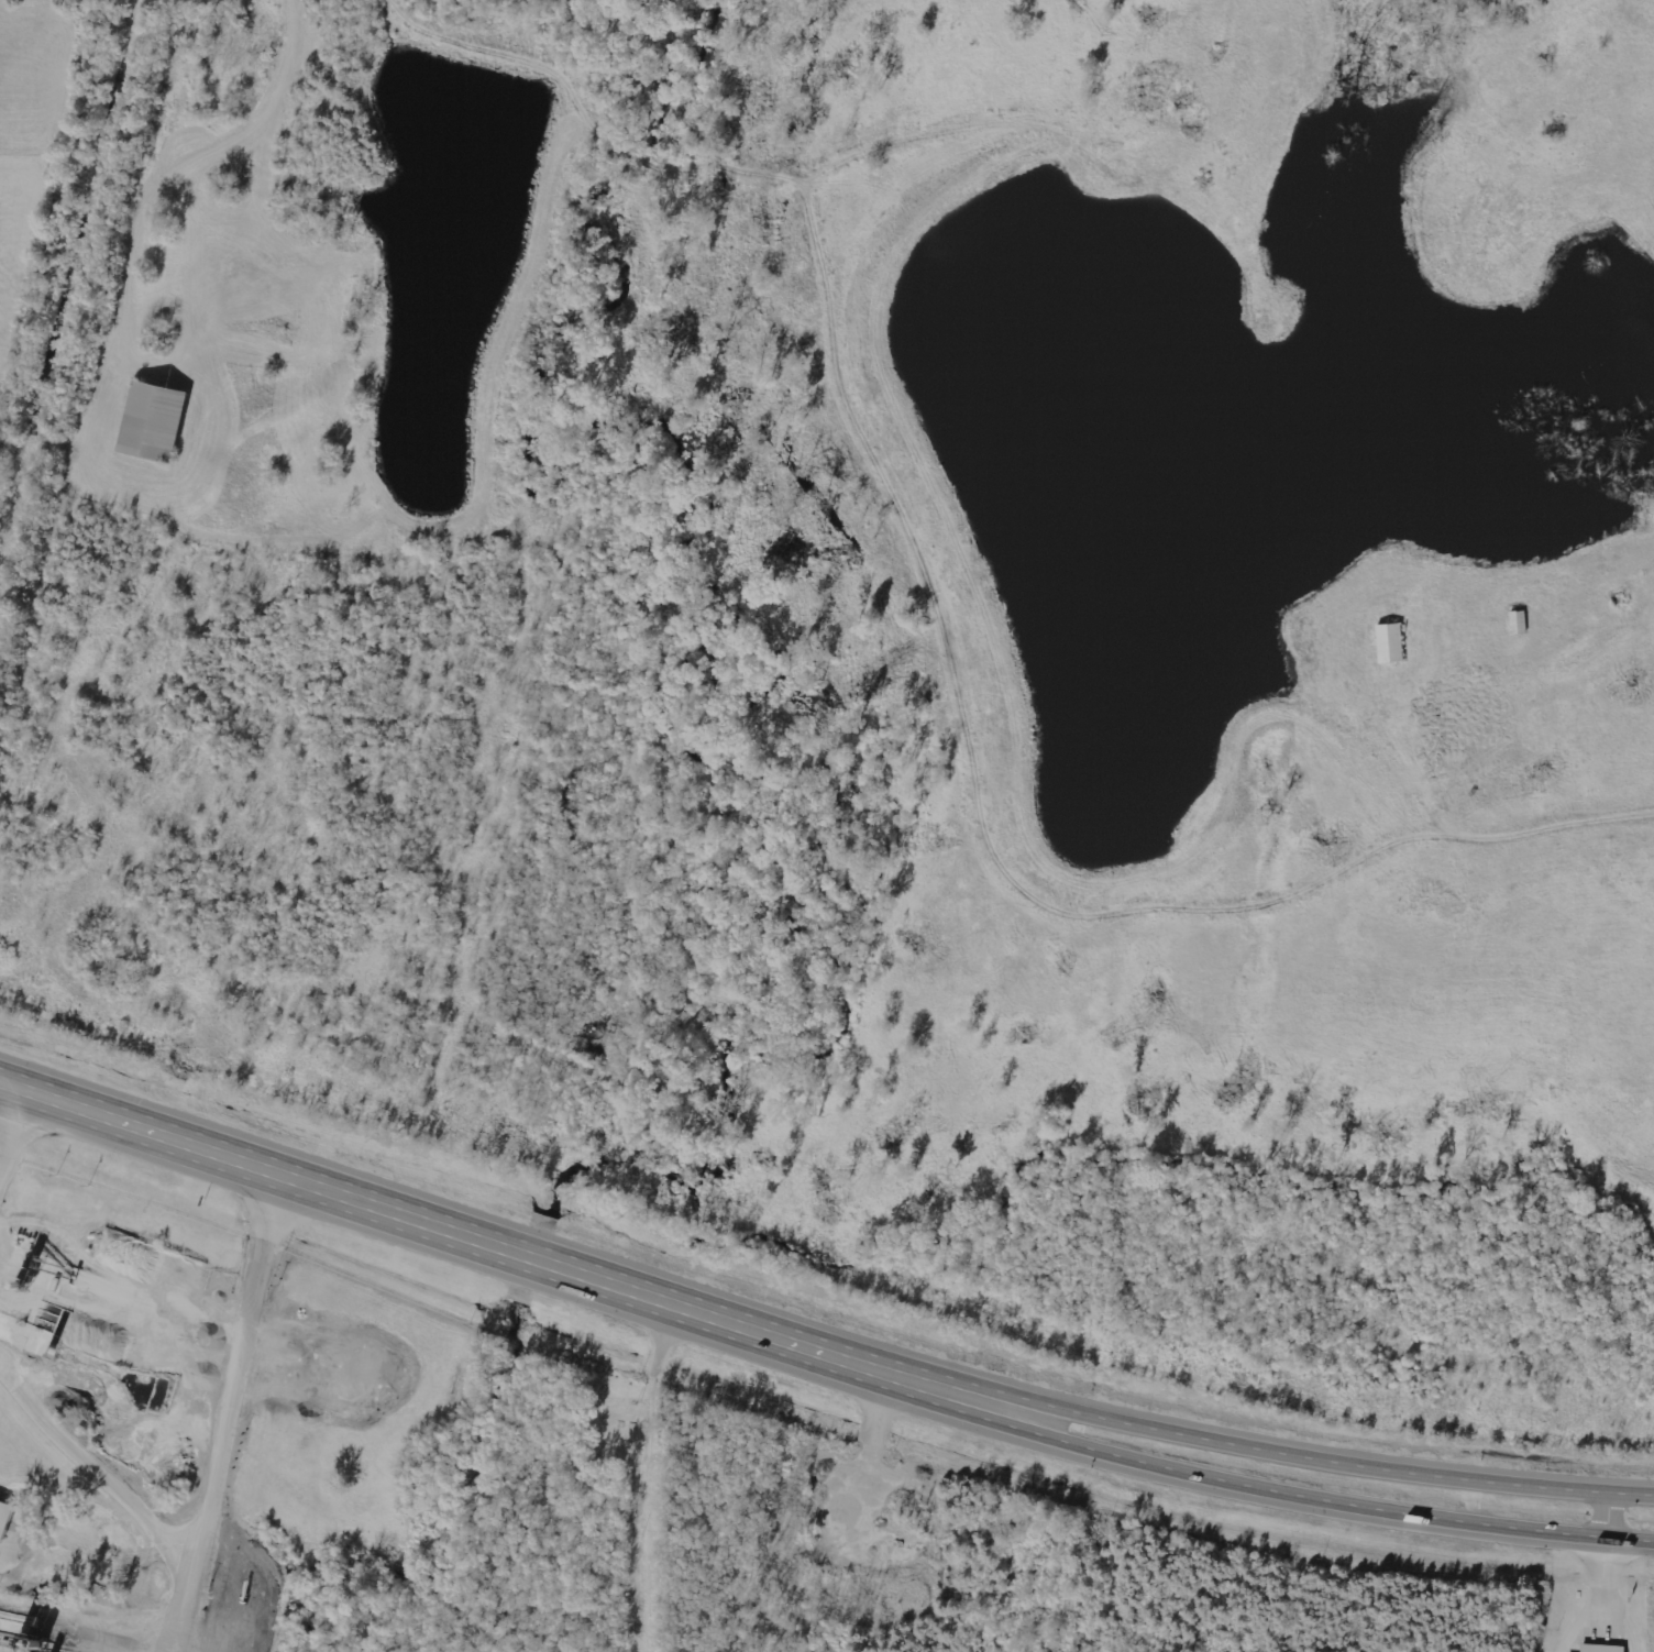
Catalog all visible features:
railway: (75, 305)
building: (145, 421)
building: (1389, 642)
road: (476, 1238)
road: (1302, 1454)
road: (1298, 1495)
road: (1609, 1516)
building: (3, 1517)
building: (1598, 1645)

